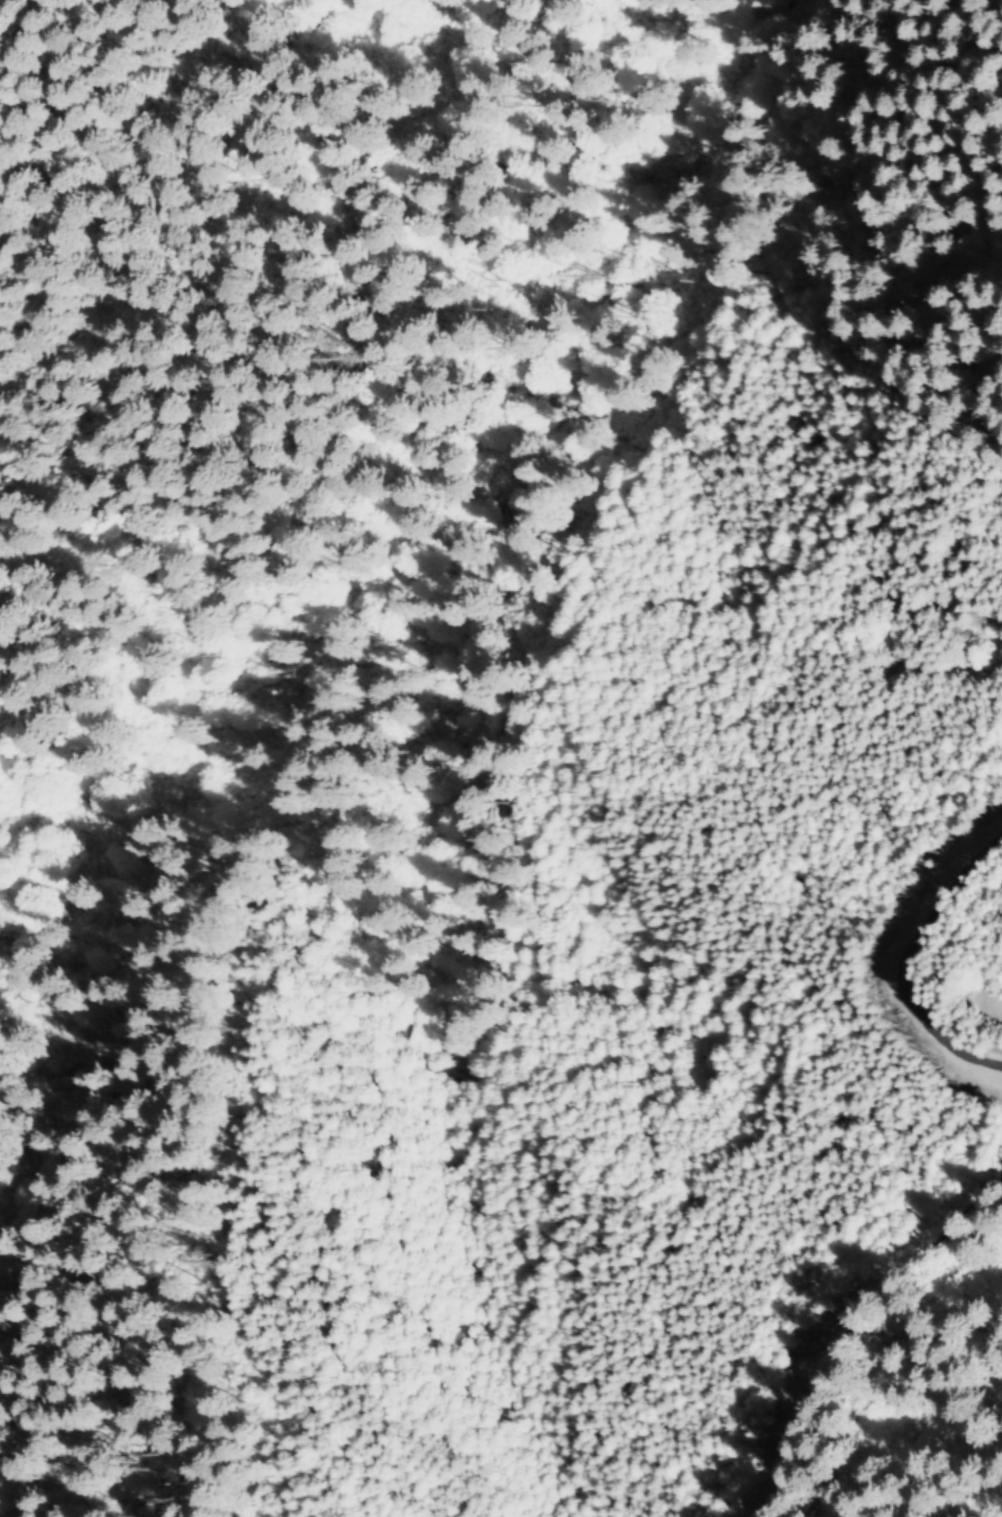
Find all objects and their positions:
road: (866, 1312)

